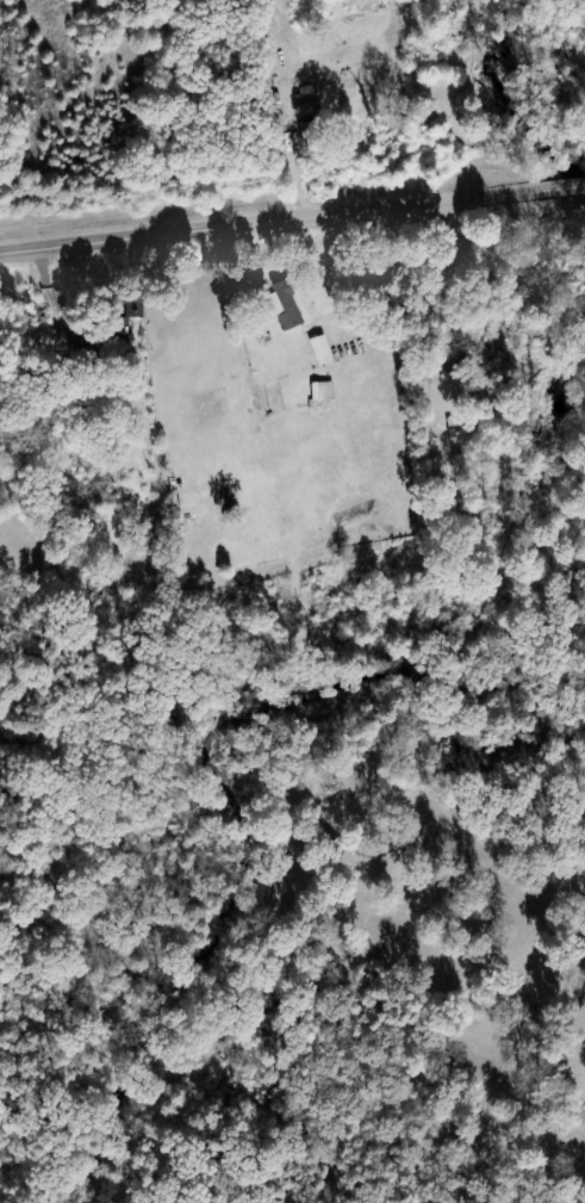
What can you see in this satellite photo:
road: (292, 216)
building: (284, 310)
building: (317, 352)
building: (319, 395)

